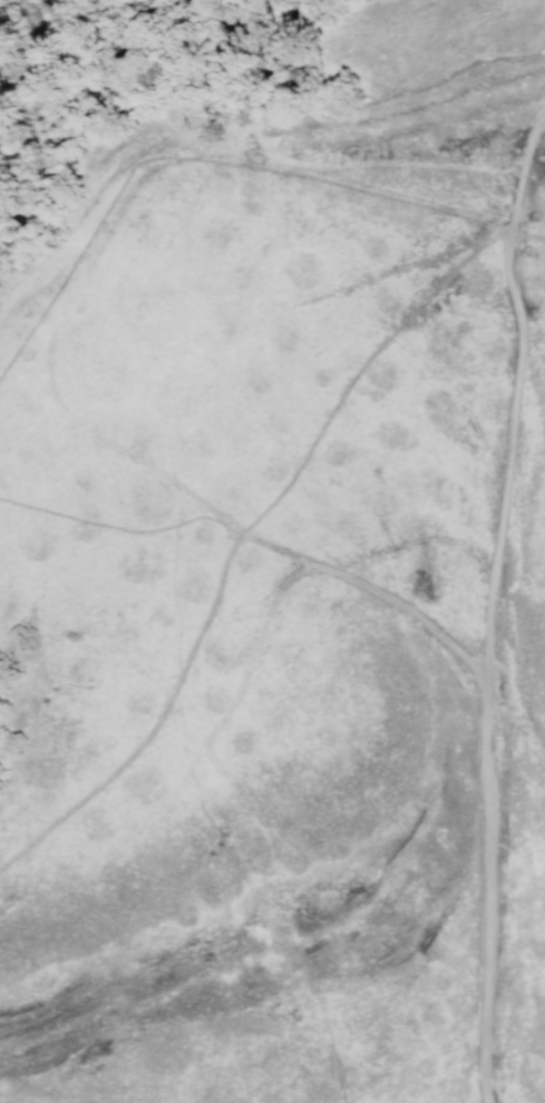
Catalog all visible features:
crop: (272, 551)
road: (358, 586)
road: (490, 604)

